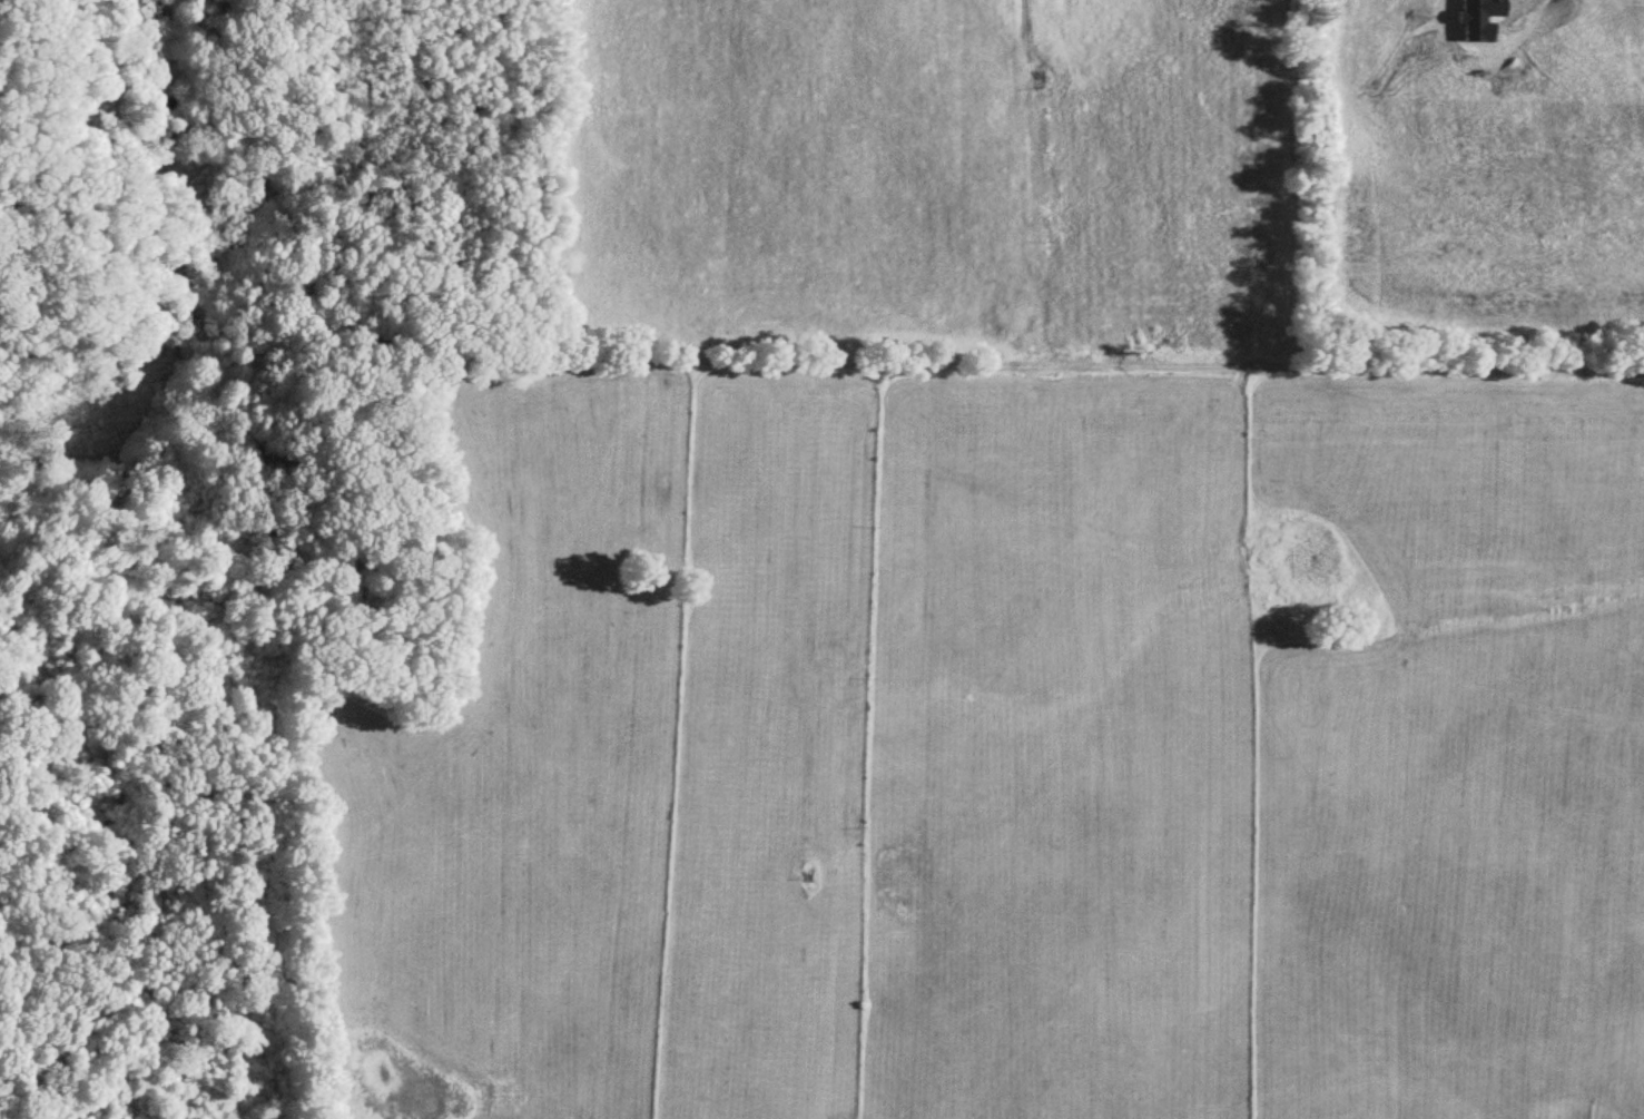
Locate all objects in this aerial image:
road: (1508, 0)
road: (1199, 360)
crop: (987, 627)

